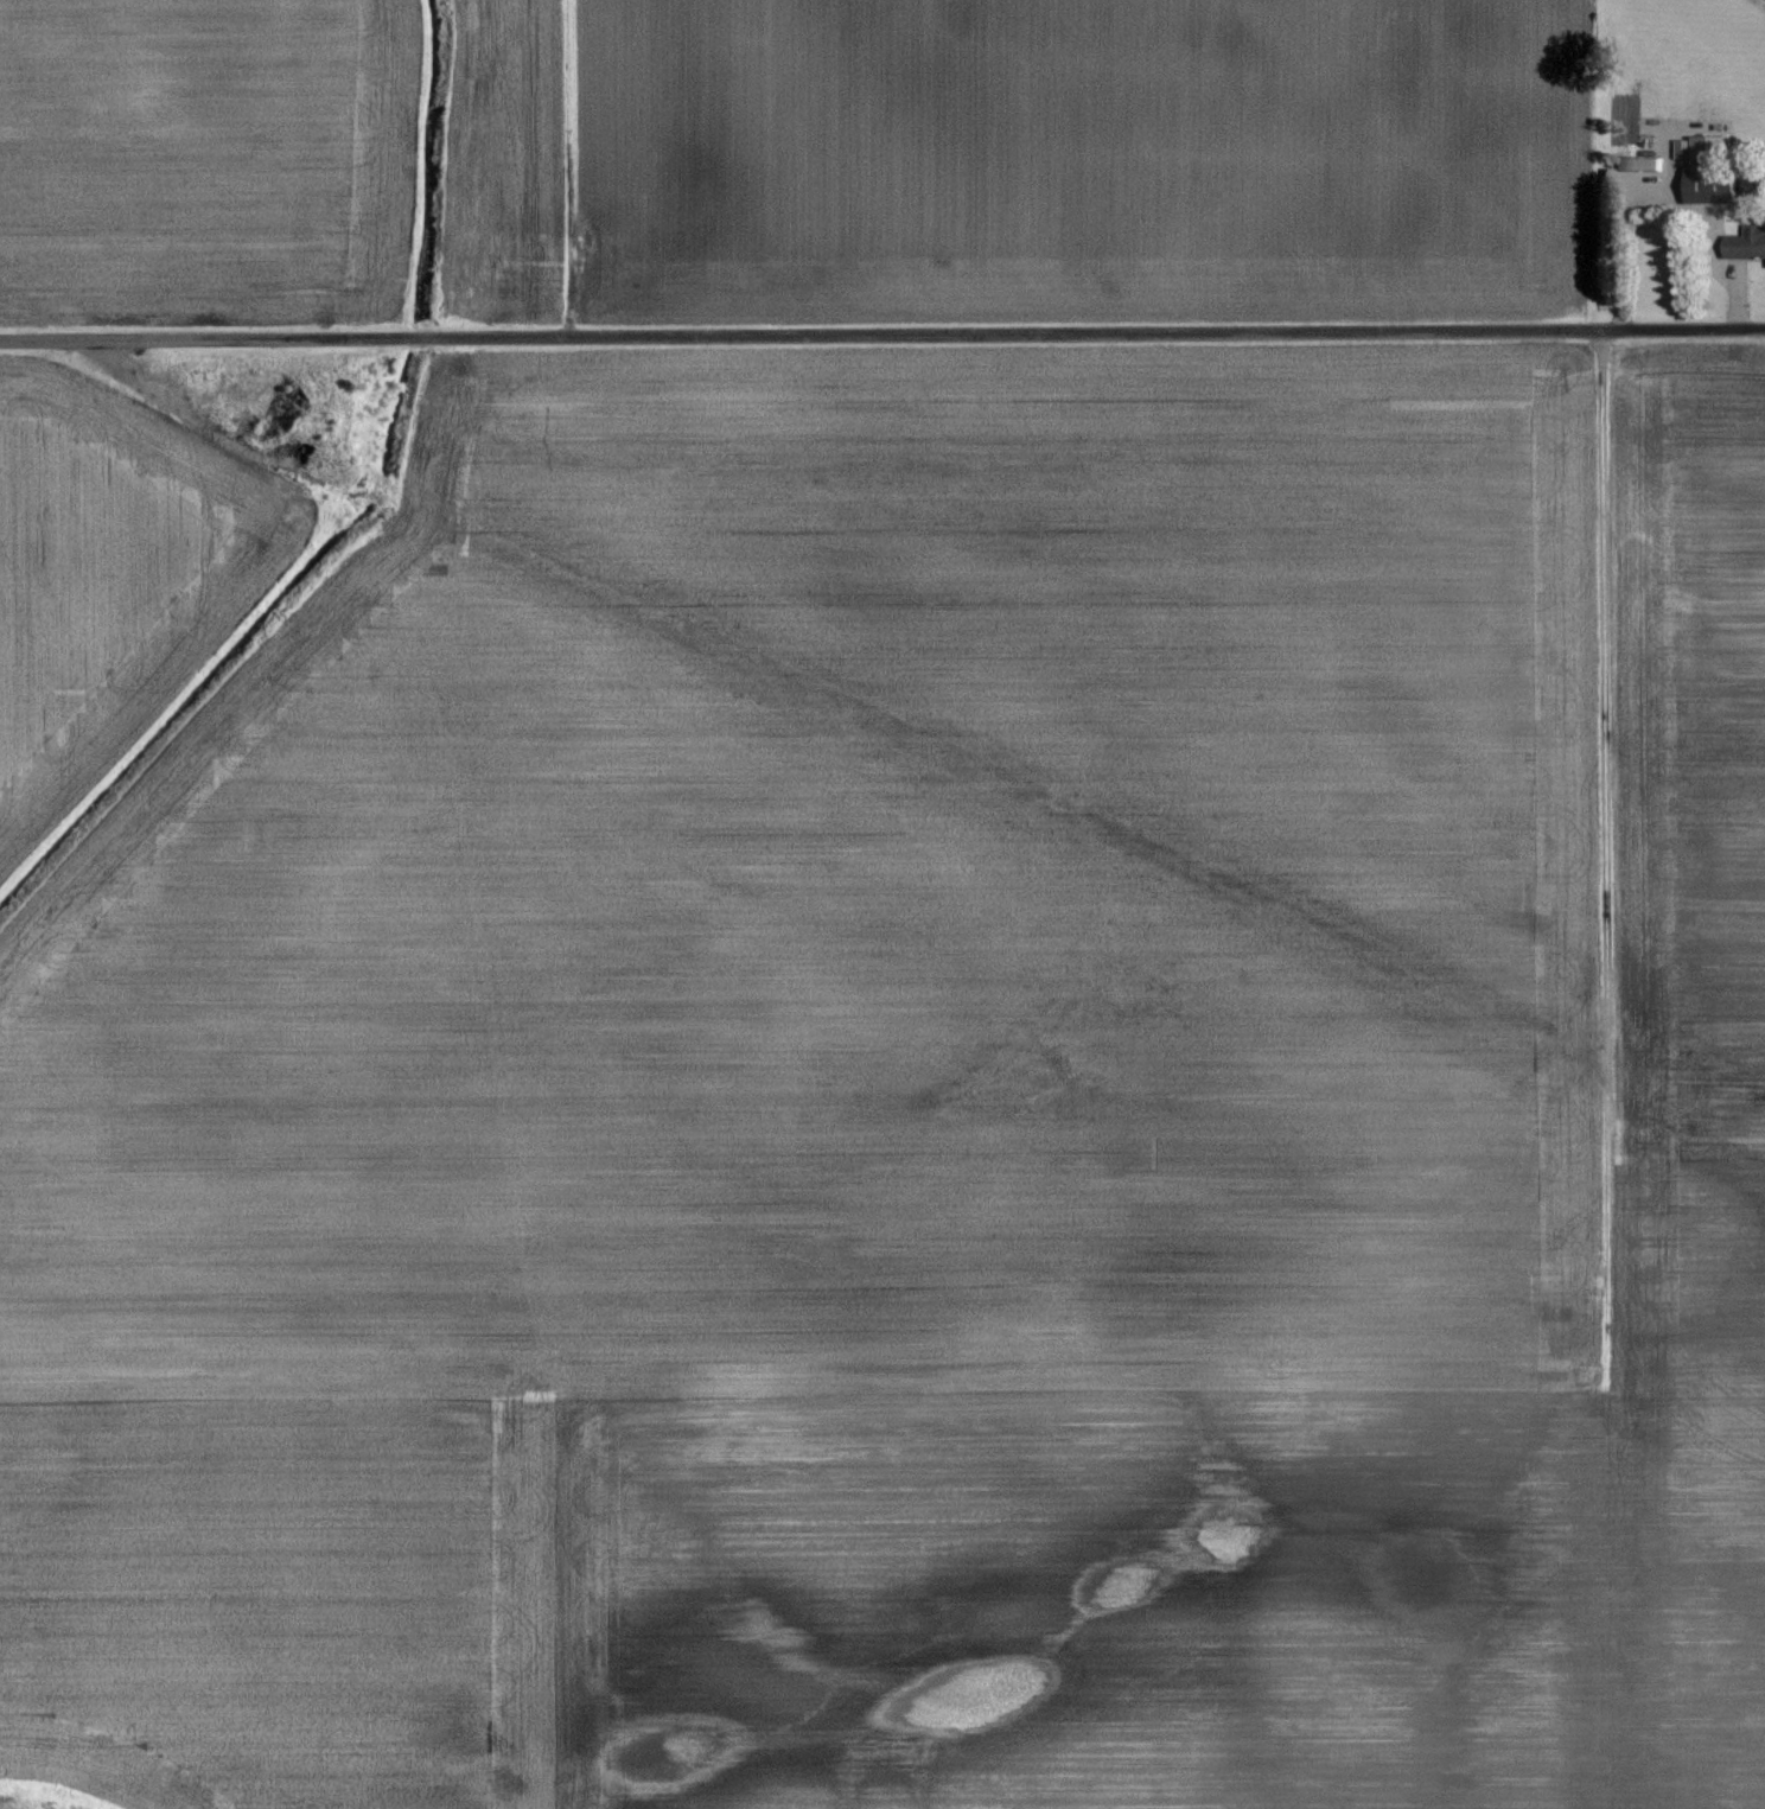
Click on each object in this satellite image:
building: (1648, 164)
building: (1716, 185)
building: (1748, 242)
road: (881, 331)

